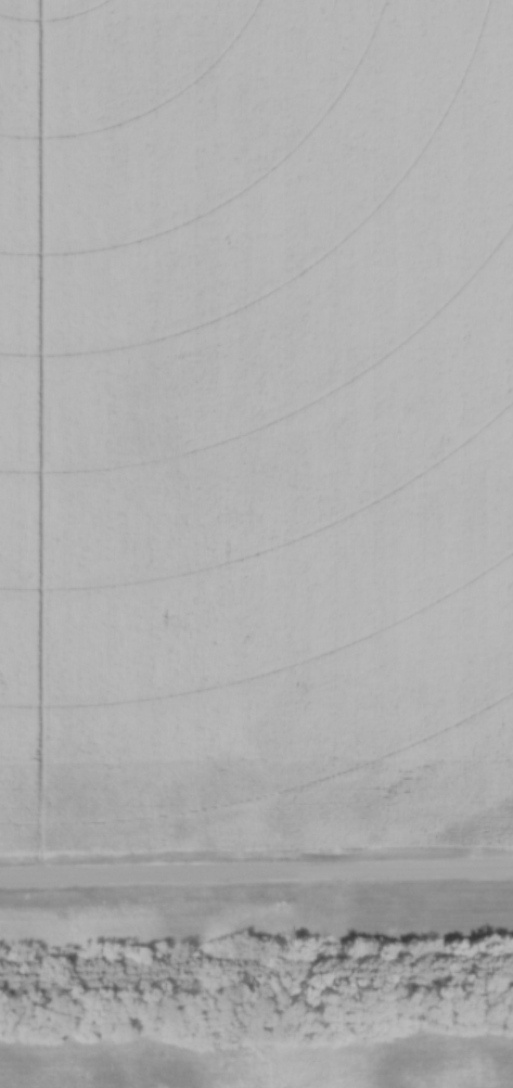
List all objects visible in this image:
road: (256, 880)

